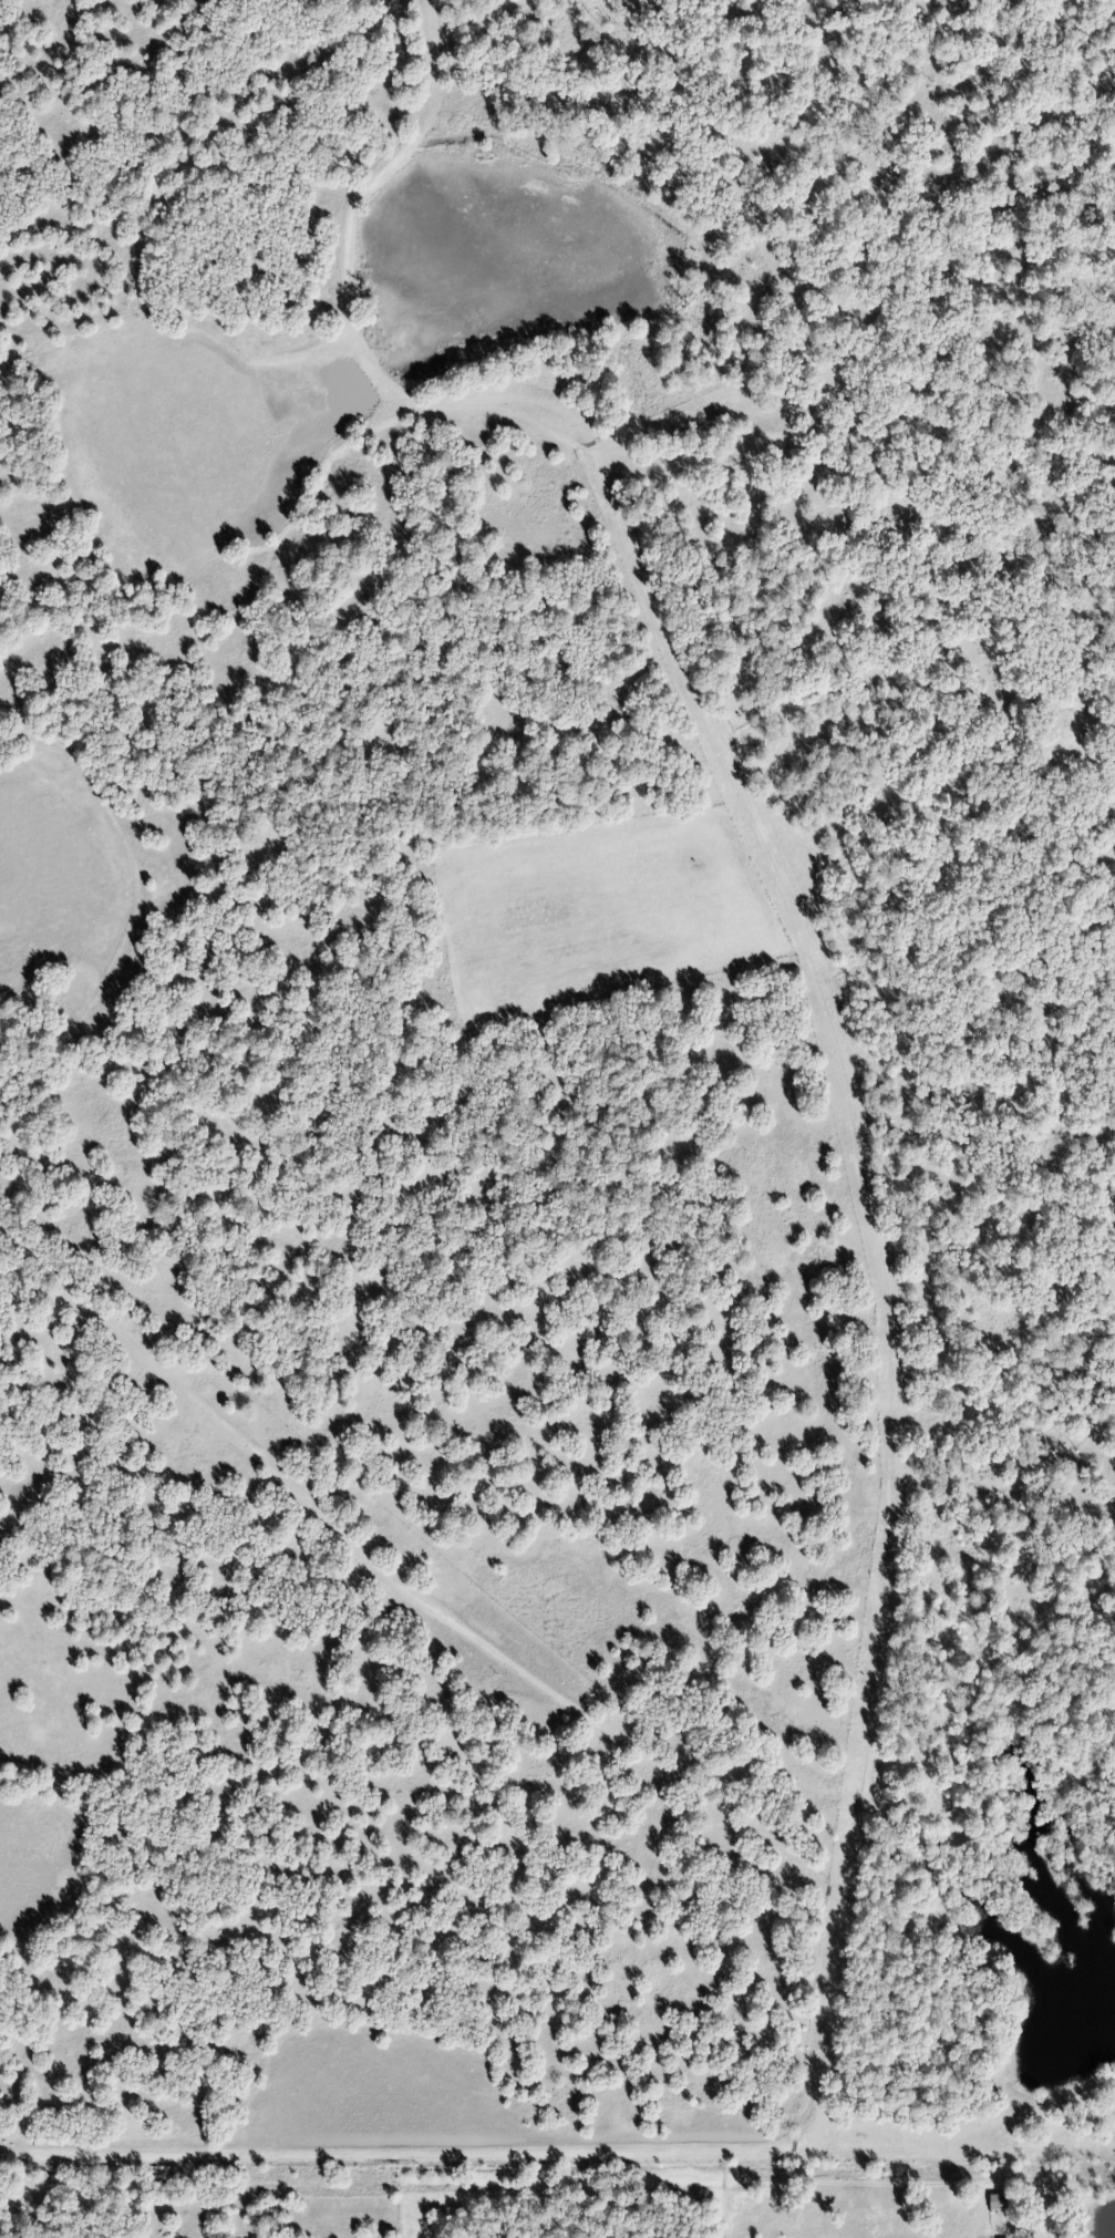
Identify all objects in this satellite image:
building: (997, 2200)

